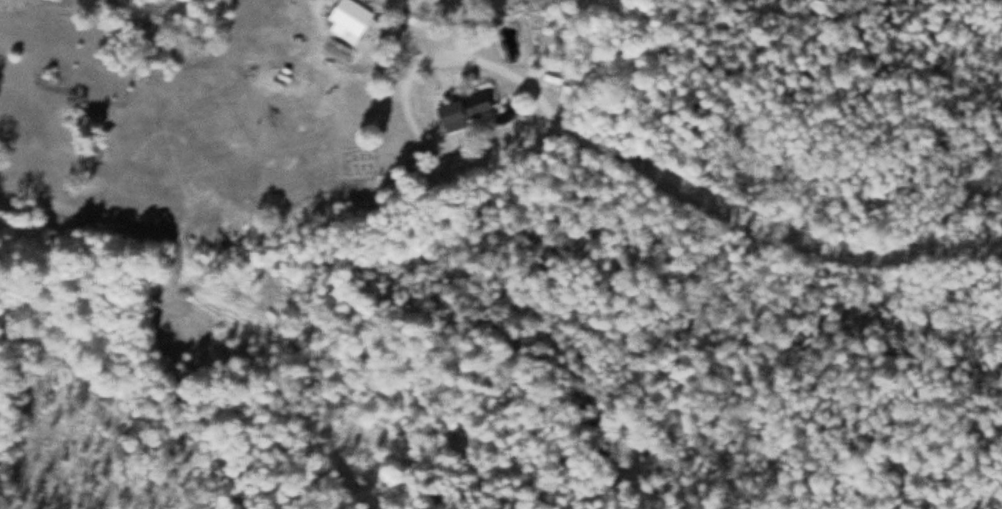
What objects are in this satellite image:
building: (346, 18)
building: (458, 108)

